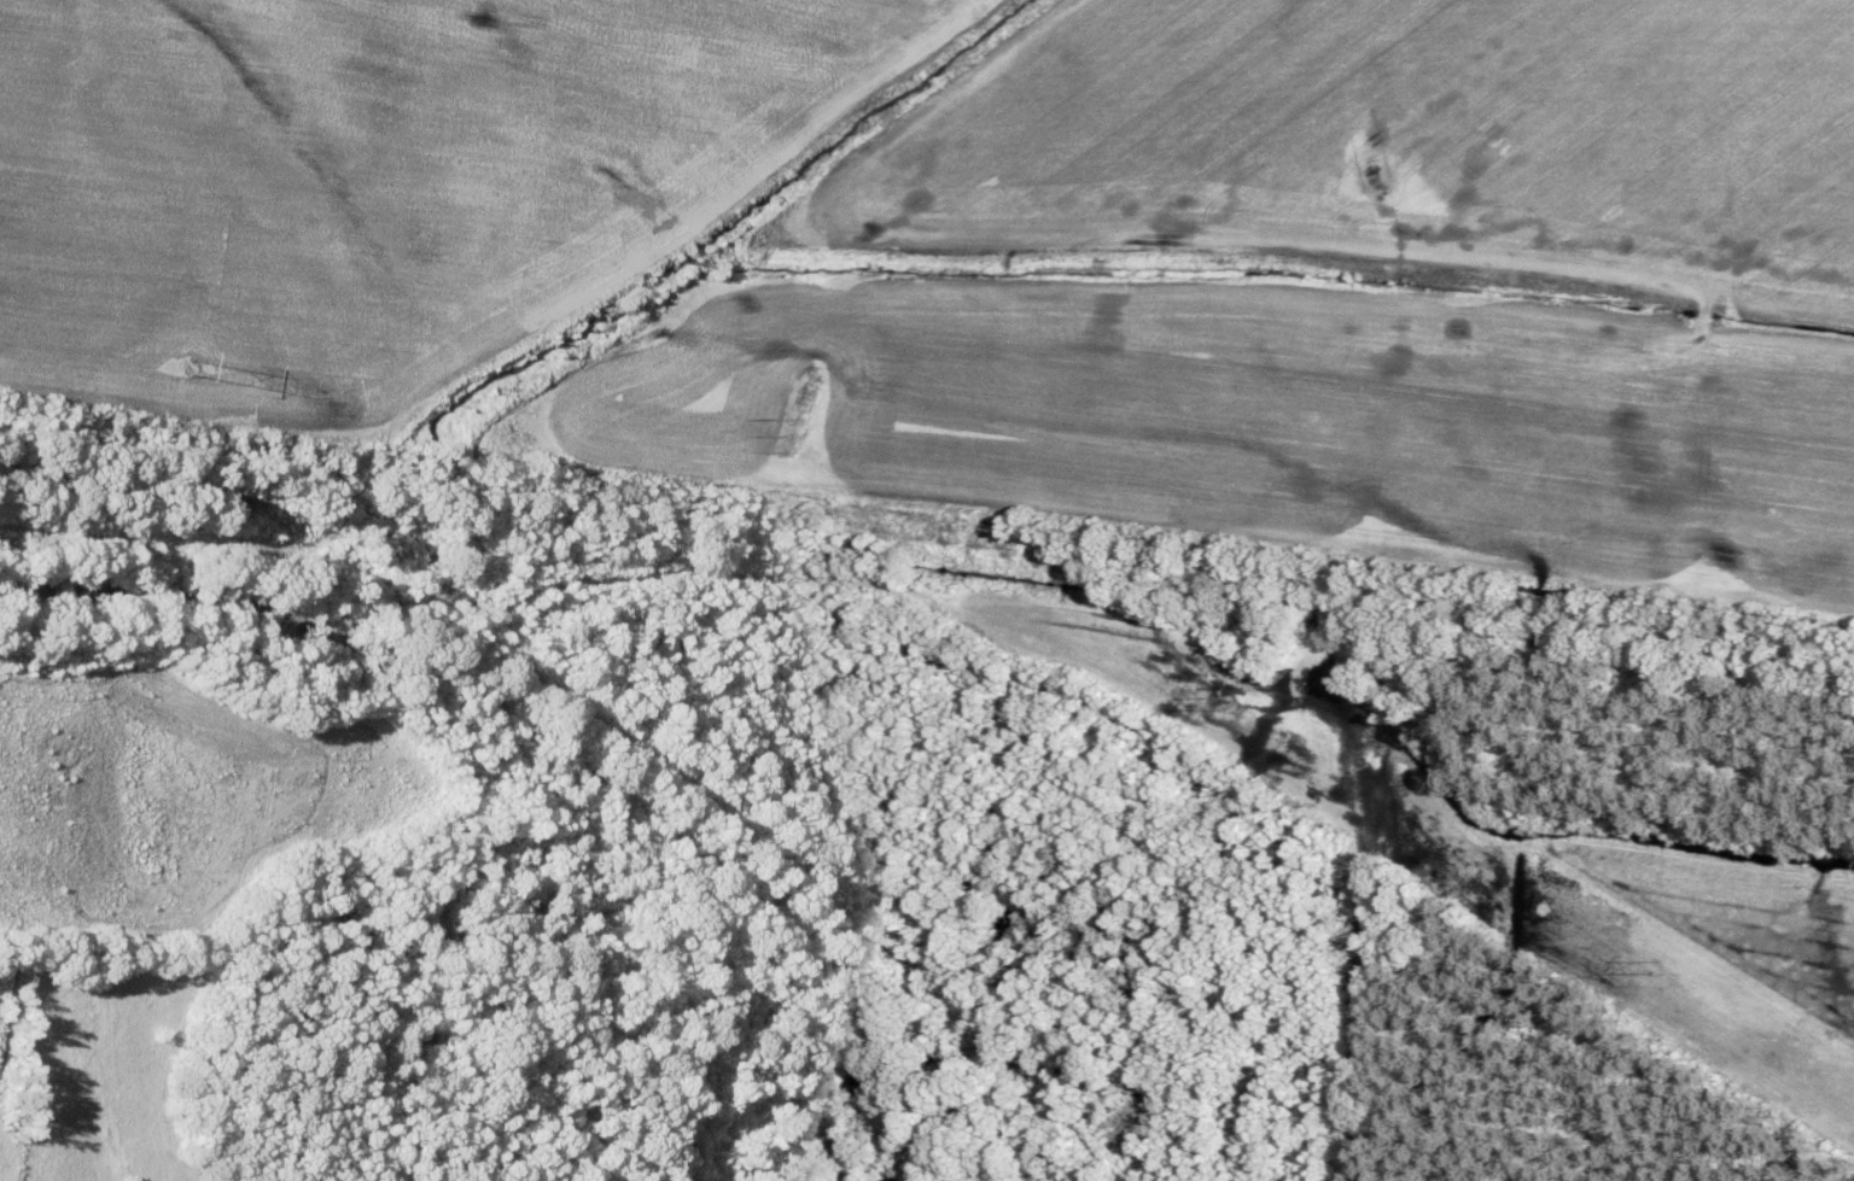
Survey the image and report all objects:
power tower: (190, 364)
power tower: (795, 437)
railway: (927, 537)
power tower: (1223, 703)
power tower: (1650, 963)

